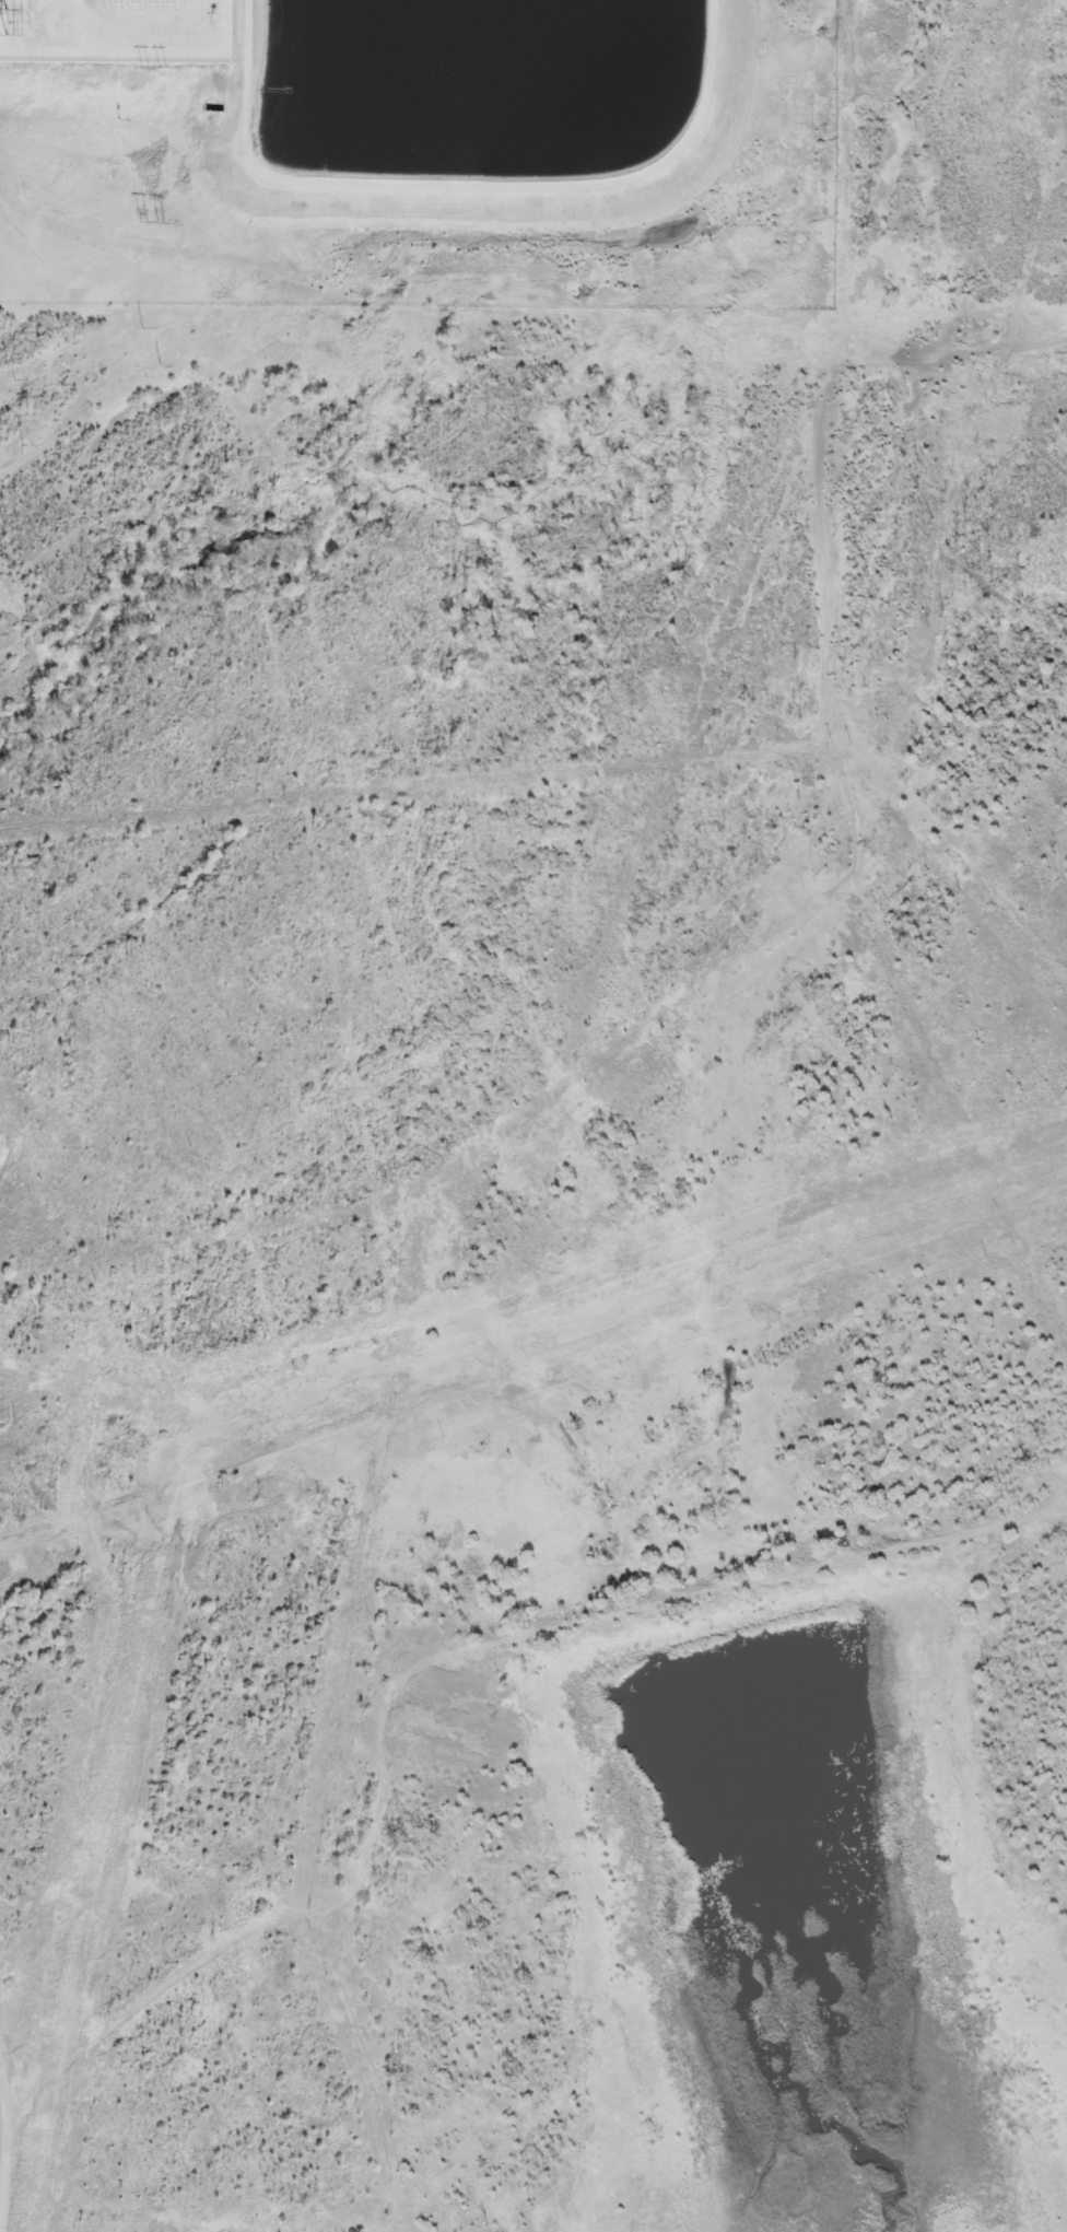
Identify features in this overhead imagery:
power substation: (116, 31)
power tower: (163, 69)
power tower: (145, 72)
power plant: (418, 150)
power tower: (144, 222)
power tower: (163, 222)
power tower: (143, 328)
power tower: (161, 365)
power tower: (15, 379)
power tower: (23, 444)
road: (4, 2154)

